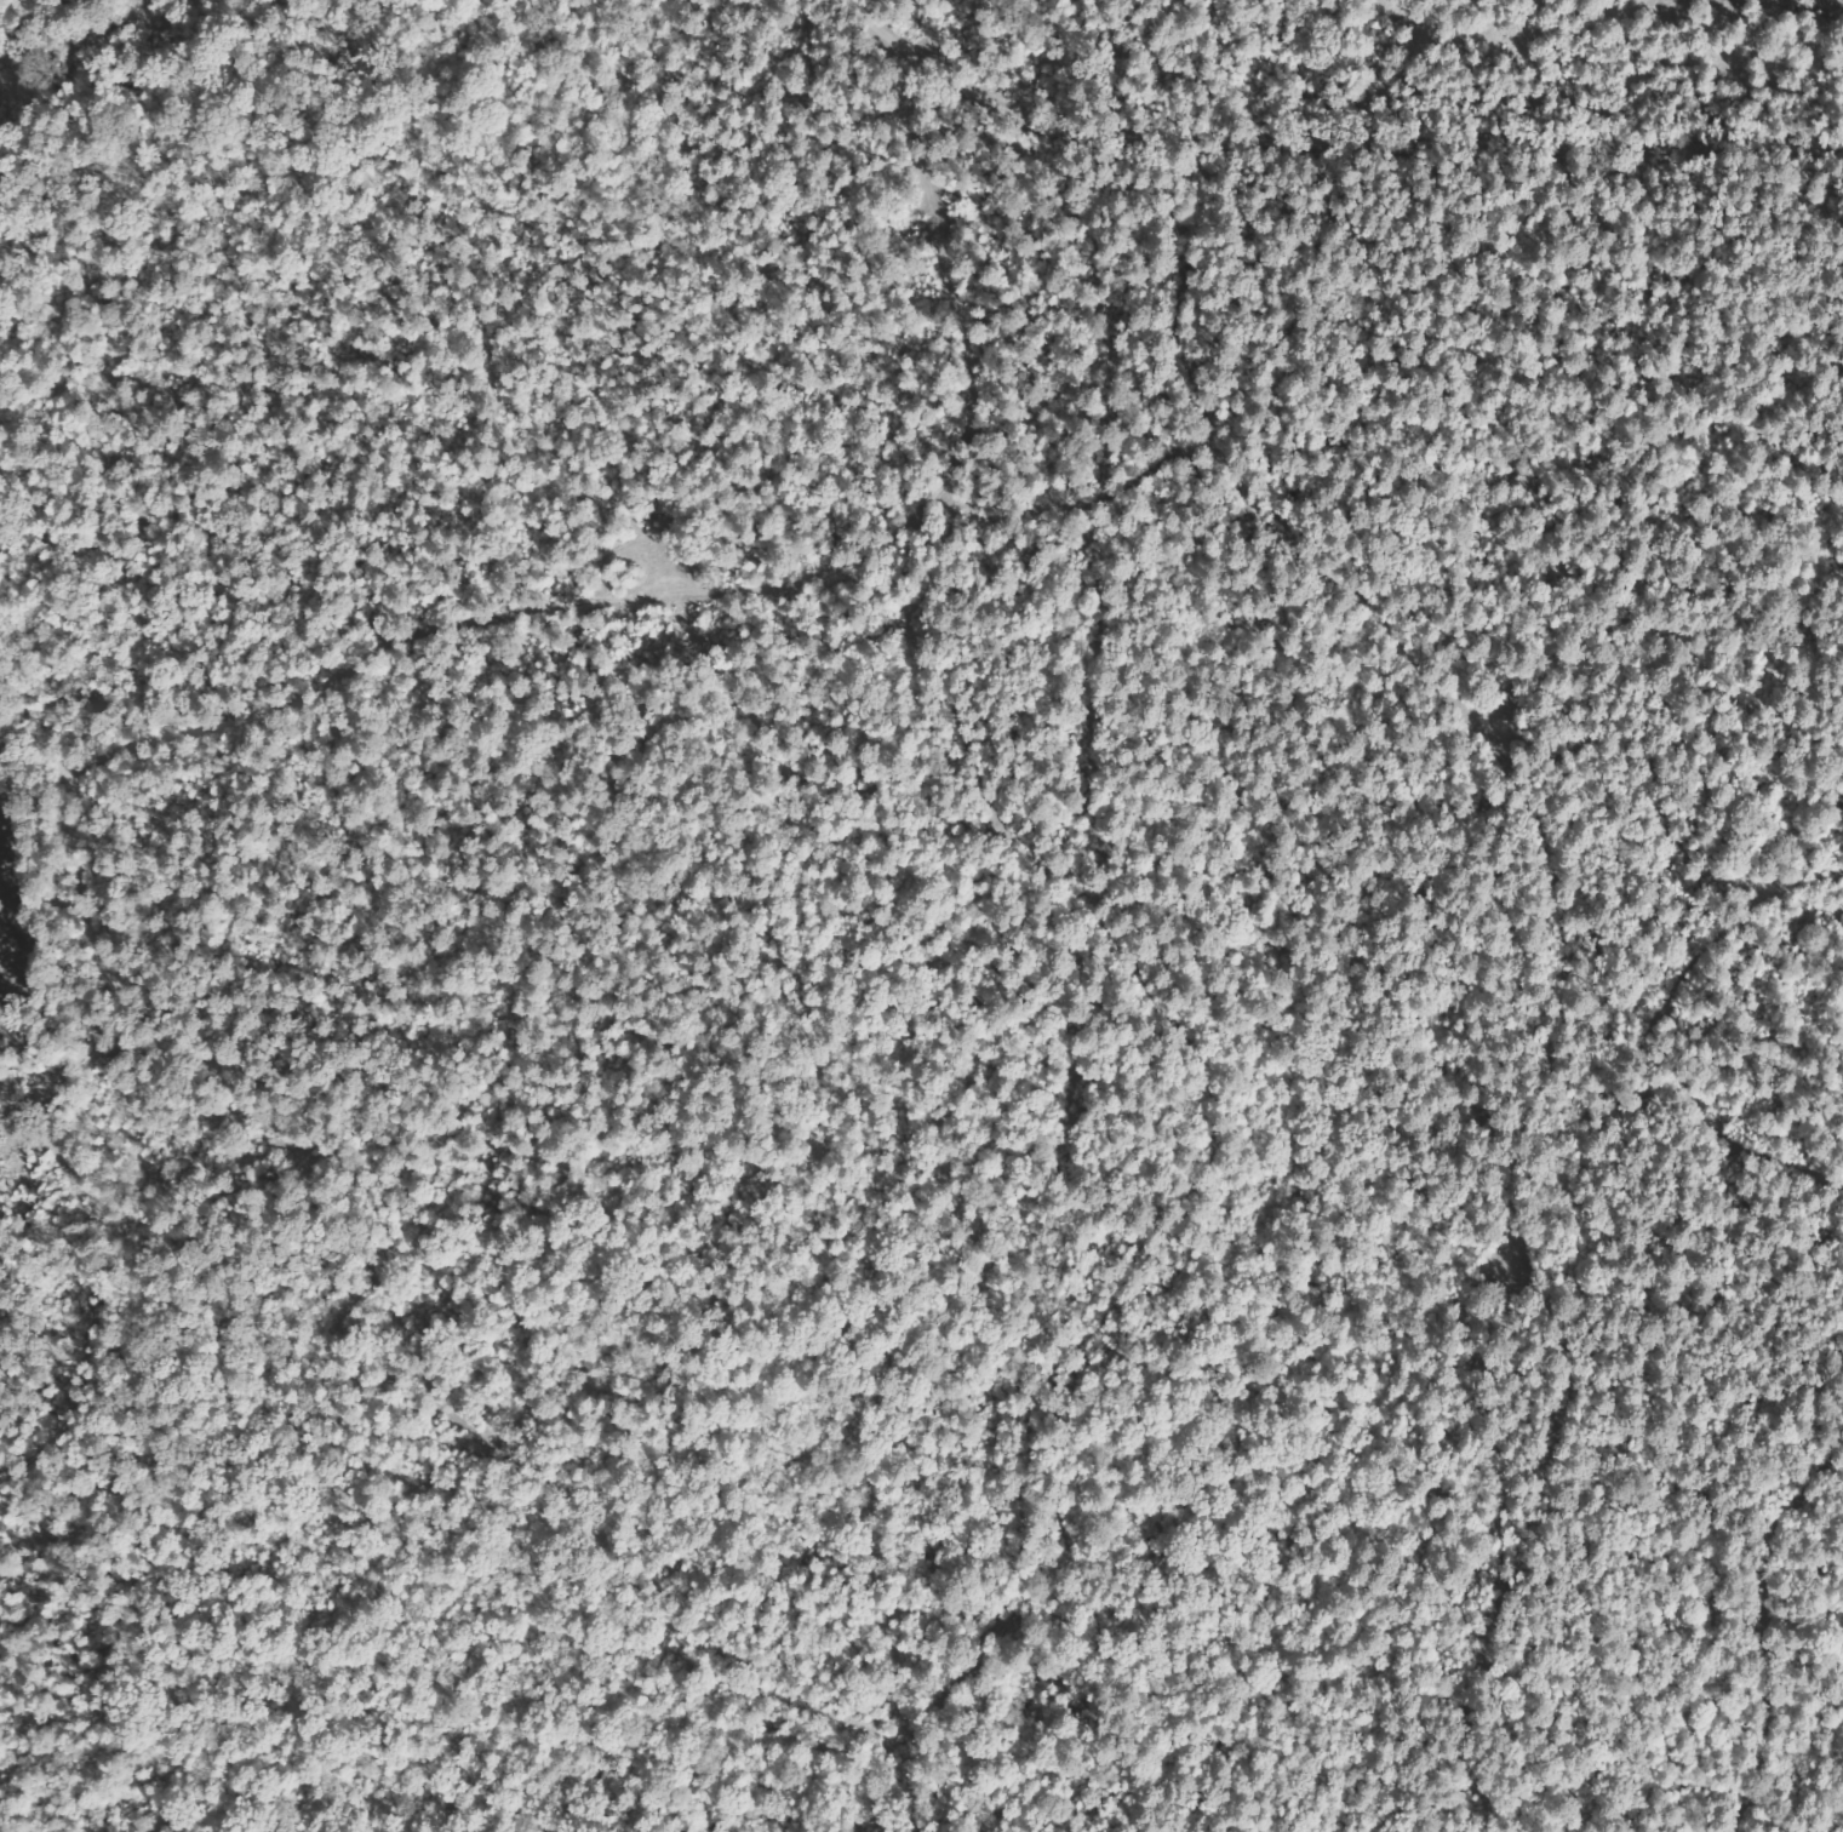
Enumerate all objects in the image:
road: (1335, 134)
road: (828, 852)

